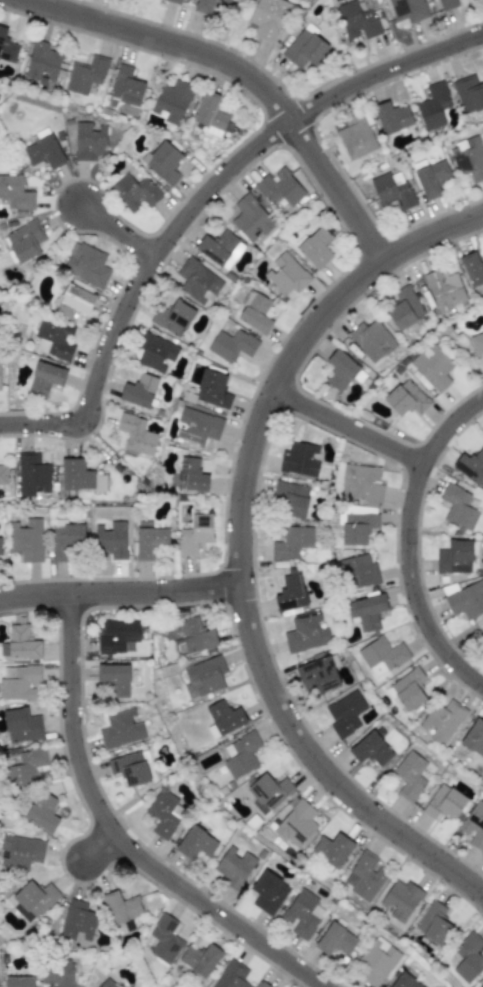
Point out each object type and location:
building: (174, 1)
building: (446, 4)
building: (208, 5)
building: (407, 11)
building: (268, 18)
building: (357, 21)
building: (7, 47)
building: (305, 48)
building: (42, 63)
road: (231, 72)
building: (85, 74)
building: (126, 86)
building: (468, 93)
building: (172, 102)
building: (433, 106)
building: (212, 115)
building: (392, 117)
building: (356, 136)
building: (89, 141)
building: (43, 150)
building: (468, 158)
building: (162, 162)
building: (431, 177)
building: (279, 188)
building: (392, 189)
building: (134, 191)
building: (15, 193)
road: (197, 199)
building: (250, 218)
road: (113, 231)
building: (24, 241)
building: (219, 248)
building: (316, 248)
building: (86, 263)
building: (472, 269)
building: (286, 274)
building: (198, 282)
building: (444, 291)
building: (73, 302)
building: (404, 308)
building: (255, 312)
building: (173, 318)
building: (371, 339)
building: (54, 340)
building: (477, 343)
building: (231, 345)
building: (155, 352)
building: (433, 366)
building: (340, 370)
building: (45, 378)
building: (212, 389)
building: (139, 391)
building: (405, 398)
building: (197, 426)
road: (350, 428)
building: (135, 434)
building: (299, 459)
building: (470, 466)
building: (3, 473)
building: (32, 474)
building: (191, 475)
building: (79, 477)
building: (361, 483)
building: (292, 500)
building: (458, 507)
building: (195, 534)
building: (66, 539)
building: (110, 539)
building: (27, 540)
building: (150, 541)
building: (290, 542)
road: (412, 543)
road: (239, 547)
building: (0, 548)
building: (455, 557)
building: (359, 572)
road: (119, 592)
building: (290, 592)
building: (464, 599)
building: (366, 611)
building: (306, 633)
building: (117, 634)
building: (193, 637)
building: (22, 642)
building: (382, 655)
building: (321, 673)
building: (205, 675)
building: (114, 678)
building: (19, 682)
building: (407, 690)
building: (345, 713)
building: (223, 718)
building: (442, 721)
building: (22, 726)
building: (121, 729)
building: (474, 737)
building: (371, 749)
building: (240, 755)
building: (25, 767)
building: (129, 768)
building: (409, 775)
building: (444, 802)
building: (42, 812)
building: (165, 813)
building: (296, 822)
building: (473, 825)
road: (117, 836)
building: (196, 843)
road: (99, 845)
building: (333, 849)
building: (21, 851)
building: (234, 866)
building: (364, 876)
building: (268, 892)
building: (33, 900)
building: (400, 900)
building: (121, 907)
building: (302, 913)
building: (78, 920)
building: (432, 921)
building: (164, 939)
building: (335, 940)
building: (468, 957)
building: (199, 959)
building: (377, 961)
building: (56, 975)
building: (231, 975)
building: (19, 981)
building: (404, 981)
building: (107, 983)
building: (479, 984)
building: (260, 985)

